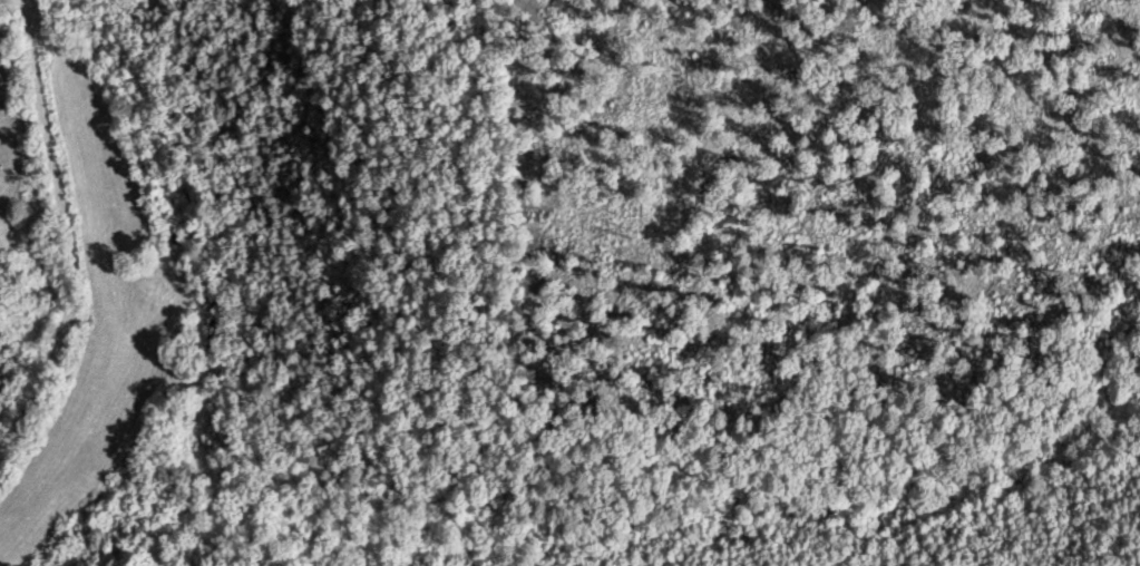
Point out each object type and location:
road: (50, 224)

